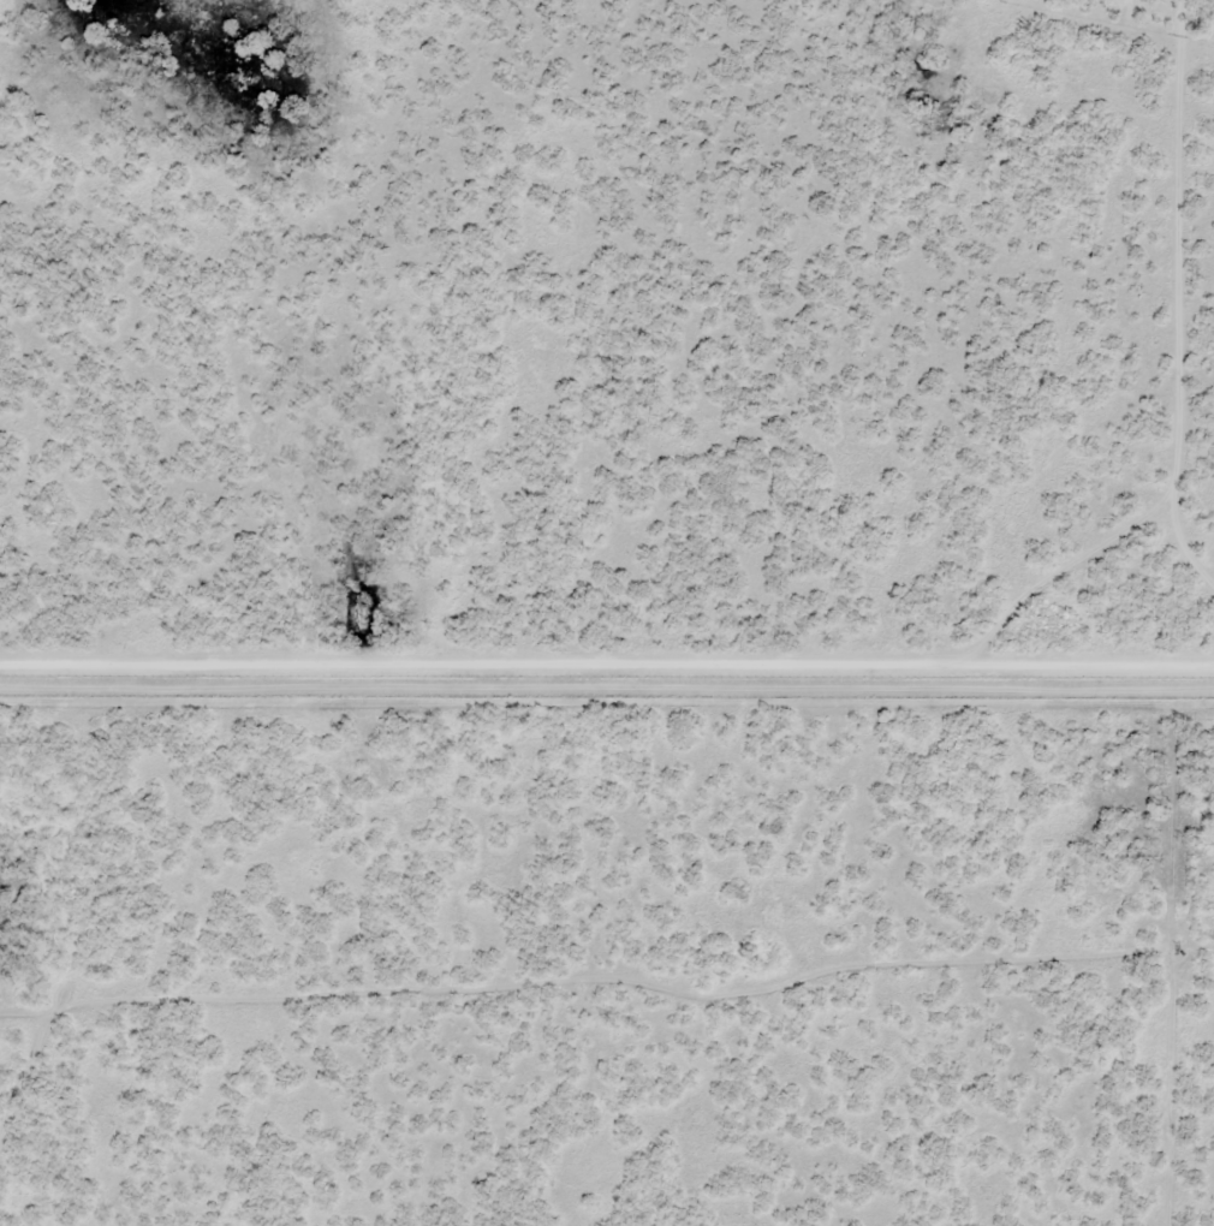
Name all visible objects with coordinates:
building: (1108, 0)
road: (607, 674)

